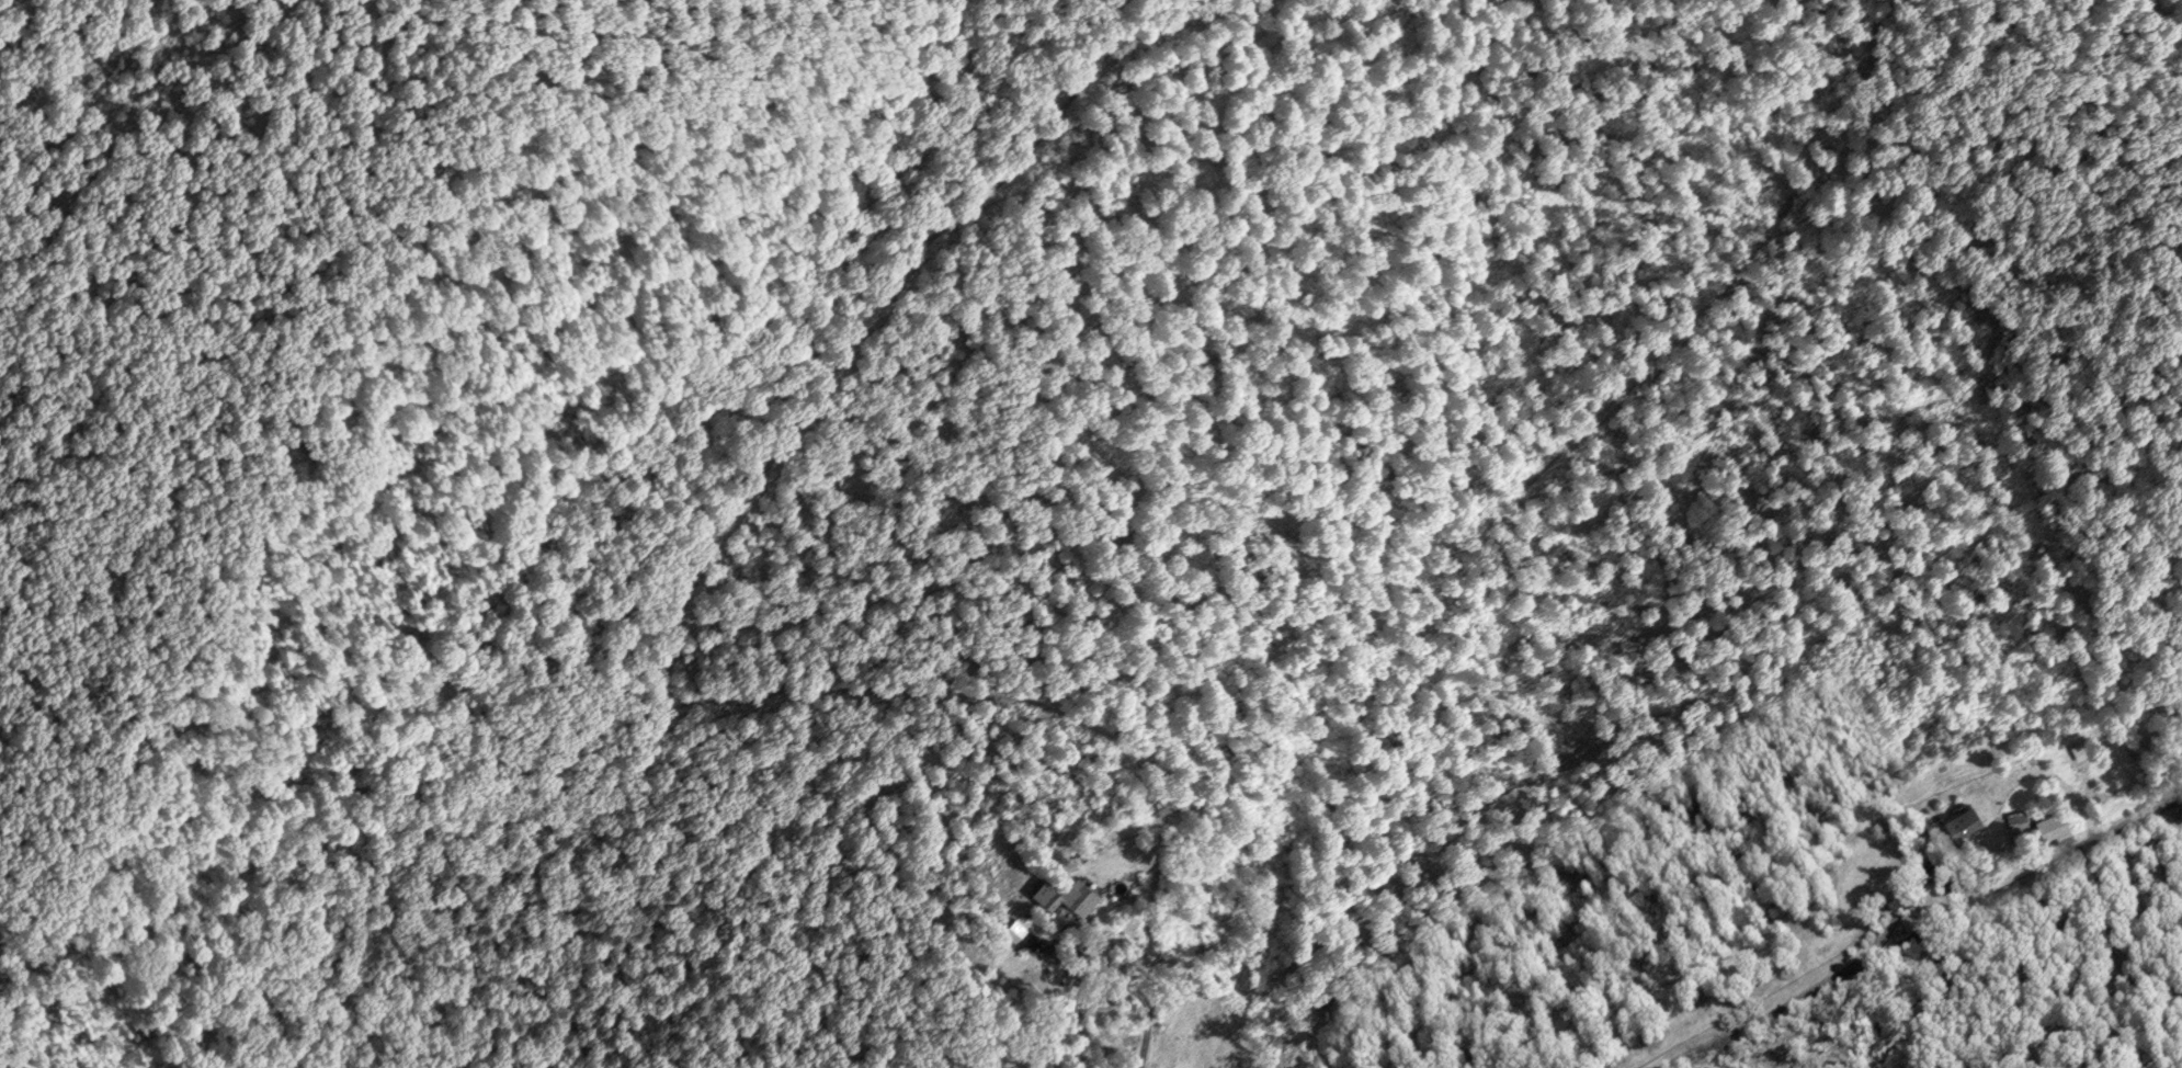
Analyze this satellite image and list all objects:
building: (2081, 747)
building: (1963, 818)
building: (2053, 819)

